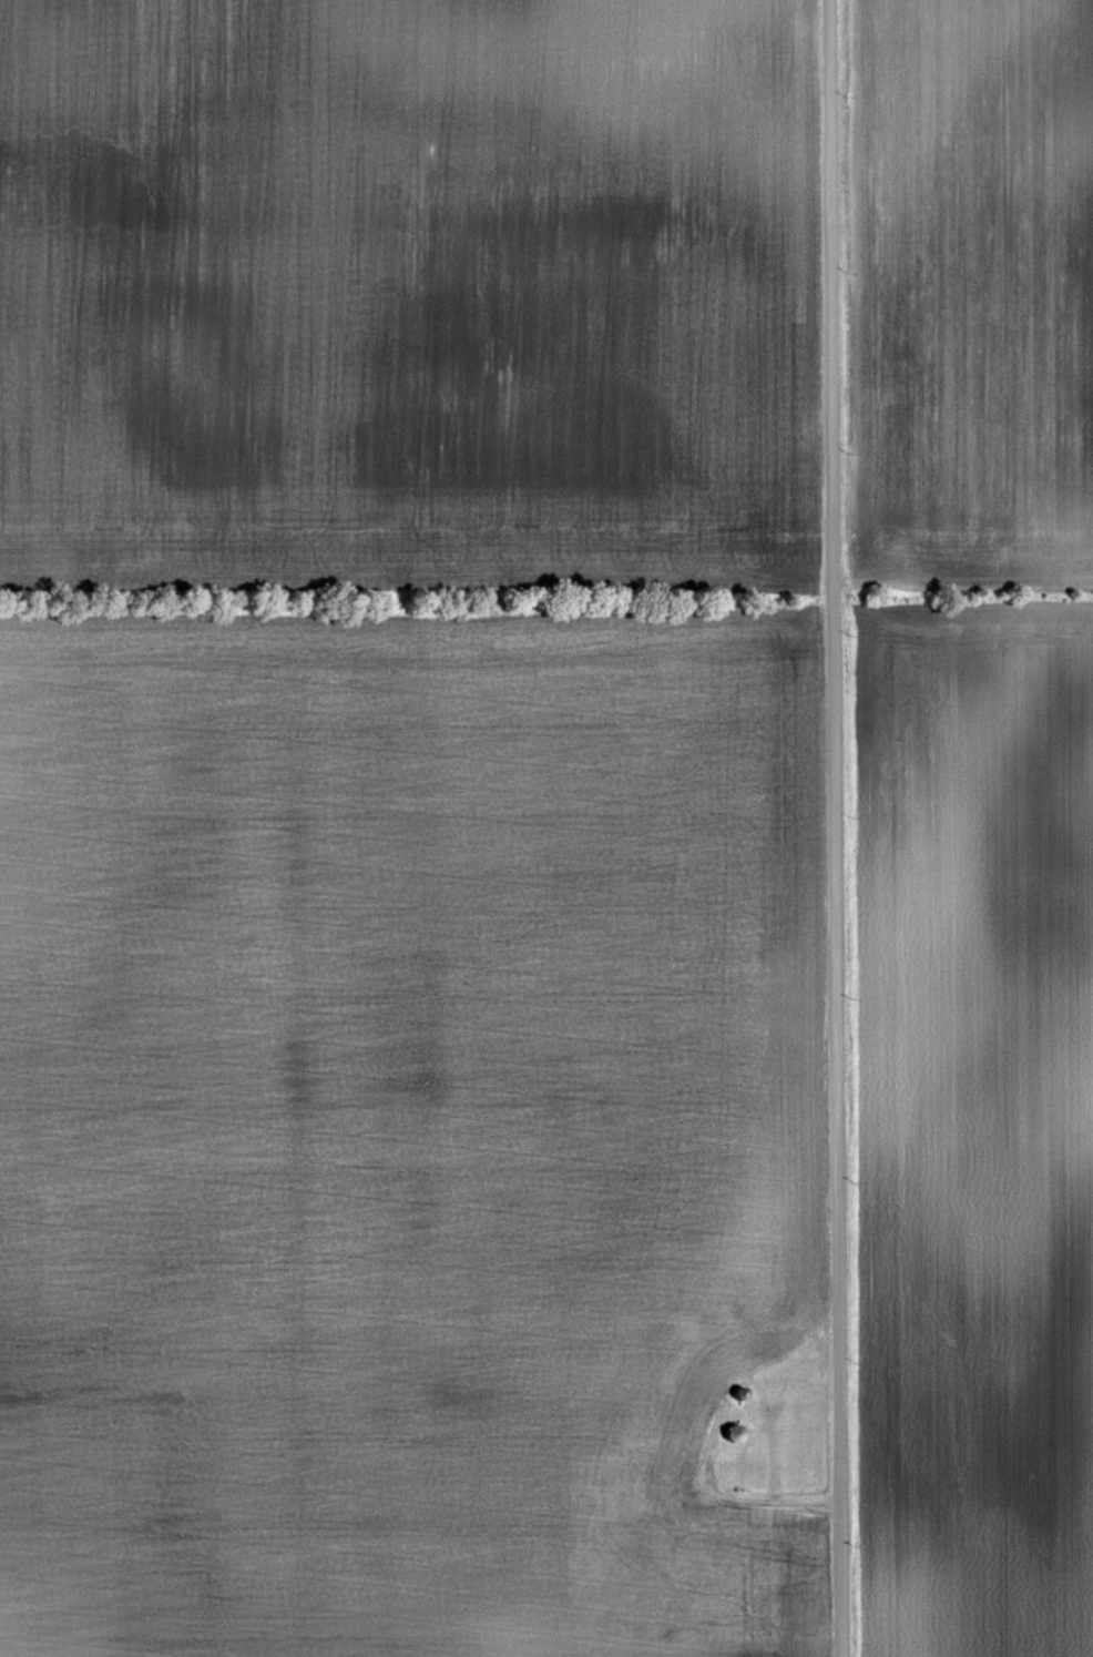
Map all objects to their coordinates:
road: (828, 827)
road: (773, 1498)

